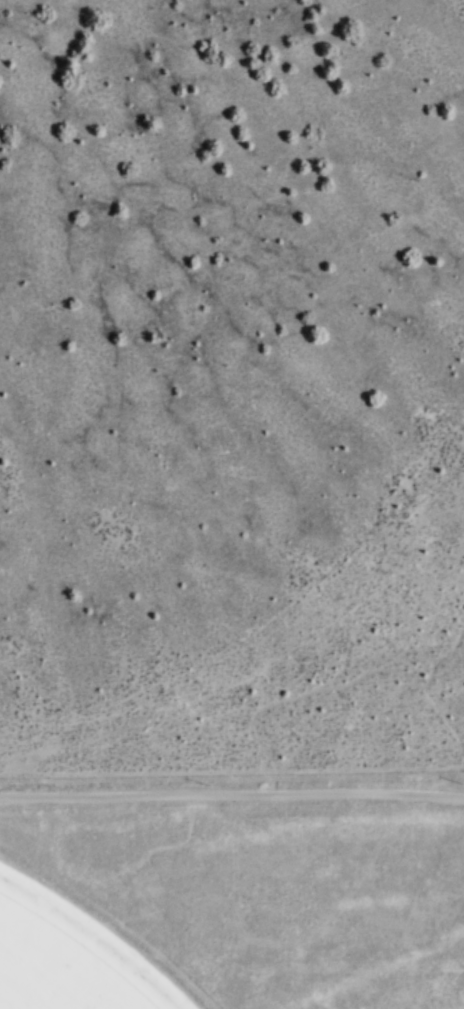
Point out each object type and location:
road: (231, 795)

